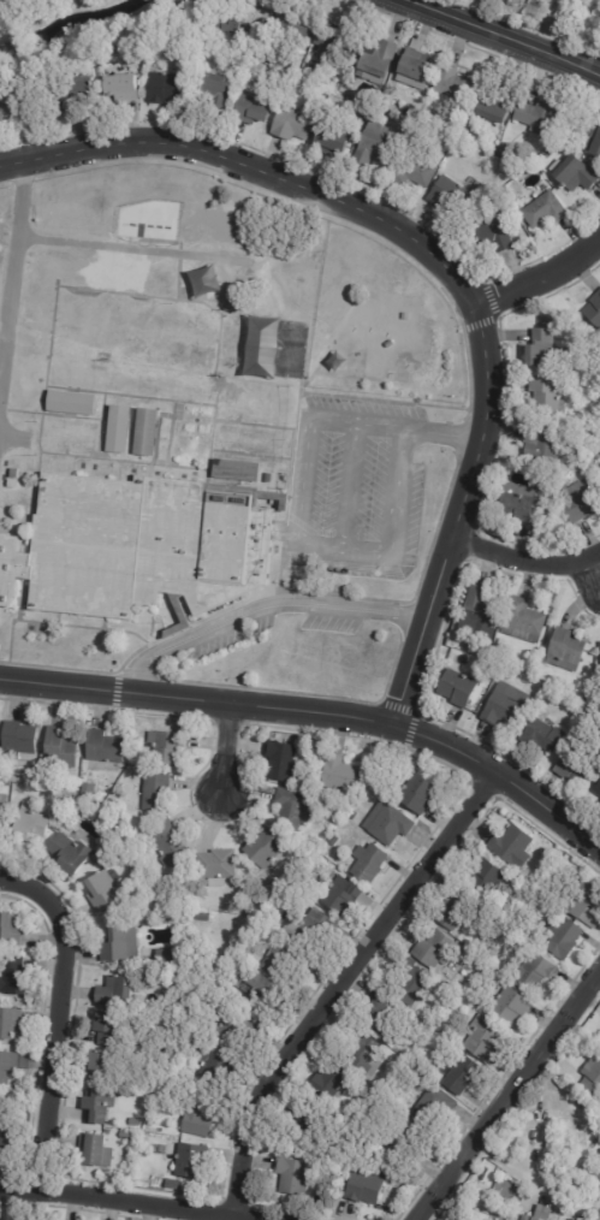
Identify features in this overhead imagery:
building: (222, 24)
building: (295, 26)
building: (257, 28)
road: (500, 37)
building: (334, 40)
building: (185, 43)
building: (374, 60)
building: (412, 73)
building: (450, 85)
building: (346, 87)
building: (118, 89)
building: (162, 89)
building: (214, 90)
building: (64, 100)
building: (387, 101)
building: (10, 107)
building: (251, 109)
building: (493, 109)
building: (535, 117)
building: (289, 125)
building: (327, 138)
building: (592, 142)
building: (347, 146)
building: (373, 146)
building: (461, 148)
building: (552, 149)
building: (505, 153)
building: (414, 170)
road: (24, 172)
building: (571, 174)
building: (507, 194)
building: (448, 196)
building: (500, 203)
building: (542, 212)
building: (489, 235)
road: (179, 249)
road: (166, 253)
road: (446, 271)
road: (540, 277)
road: (12, 279)
road: (171, 300)
building: (593, 309)
building: (404, 316)
building: (388, 344)
building: (541, 350)
road: (328, 351)
road: (467, 351)
road: (360, 378)
building: (543, 393)
road: (130, 396)
building: (71, 402)
road: (384, 402)
road: (105, 408)
road: (51, 414)
road: (167, 415)
road: (41, 421)
road: (100, 425)
road: (255, 425)
building: (118, 428)
building: (145, 432)
road: (171, 433)
road: (441, 433)
road: (457, 436)
road: (105, 437)
road: (212, 437)
road: (14, 438)
road: (158, 443)
building: (543, 445)
road: (251, 455)
road: (102, 456)
road: (292, 456)
building: (558, 460)
road: (125, 461)
road: (155, 461)
building: (580, 462)
road: (73, 466)
road: (119, 470)
road: (149, 470)
building: (237, 470)
building: (13, 473)
building: (598, 476)
building: (267, 478)
road: (225, 481)
building: (12, 484)
road: (349, 487)
road: (250, 490)
parking lot: (356, 490)
road: (257, 501)
building: (580, 502)
building: (516, 504)
building: (489, 509)
road: (11, 532)
road: (284, 537)
road: (285, 537)
road: (297, 544)
building: (136, 547)
road: (524, 565)
road: (281, 568)
road: (595, 574)
road: (273, 593)
road: (250, 597)
road: (262, 608)
building: (476, 608)
road: (28, 609)
road: (180, 610)
road: (19, 615)
road: (55, 618)
building: (522, 621)
road: (103, 623)
parking lot: (329, 623)
road: (61, 626)
parking lot: (232, 638)
building: (499, 645)
building: (564, 650)
building: (485, 651)
building: (599, 653)
building: (457, 688)
building: (503, 706)
road: (316, 713)
building: (0, 733)
building: (543, 735)
building: (23, 740)
building: (107, 747)
building: (171, 747)
building: (64, 748)
road: (225, 750)
building: (285, 762)
building: (577, 765)
building: (28, 775)
building: (343, 775)
building: (374, 776)
building: (11, 784)
building: (313, 786)
building: (598, 788)
building: (90, 790)
building: (160, 793)
building: (422, 794)
building: (5, 799)
building: (60, 800)
building: (295, 809)
building: (4, 817)
building: (391, 824)
building: (31, 830)
building: (334, 841)
building: (173, 845)
building: (516, 846)
building: (268, 851)
building: (72, 853)
building: (307, 860)
building: (370, 863)
building: (221, 865)
building: (492, 878)
building: (106, 892)
building: (345, 895)
building: (586, 899)
building: (161, 904)
building: (461, 912)
building: (269, 926)
building: (316, 929)
building: (11, 931)
building: (566, 937)
building: (126, 946)
building: (439, 949)
building: (168, 958)
building: (287, 959)
building: (149, 960)
building: (541, 970)
building: (18, 978)
building: (415, 983)
road: (349, 988)
building: (477, 988)
building: (119, 991)
building: (265, 996)
building: (515, 1008)
building: (387, 1017)
road: (55, 1020)
building: (12, 1024)
building: (238, 1029)
building: (111, 1030)
building: (487, 1038)
building: (370, 1055)
building: (400, 1065)
building: (10, 1068)
building: (107, 1068)
building: (215, 1070)
building: (467, 1074)
building: (592, 1077)
building: (334, 1083)
road: (509, 1094)
building: (100, 1107)
building: (439, 1107)
building: (201, 1118)
building: (136, 1123)
building: (308, 1124)
building: (109, 1132)
building: (130, 1136)
building: (405, 1142)
building: (8, 1144)
building: (100, 1151)
building: (191, 1161)
building: (107, 1173)
building: (296, 1177)
building: (121, 1178)
building: (164, 1183)
building: (174, 1185)
building: (370, 1188)
building: (500, 1194)
road: (123, 1204)
building: (537, 1214)

